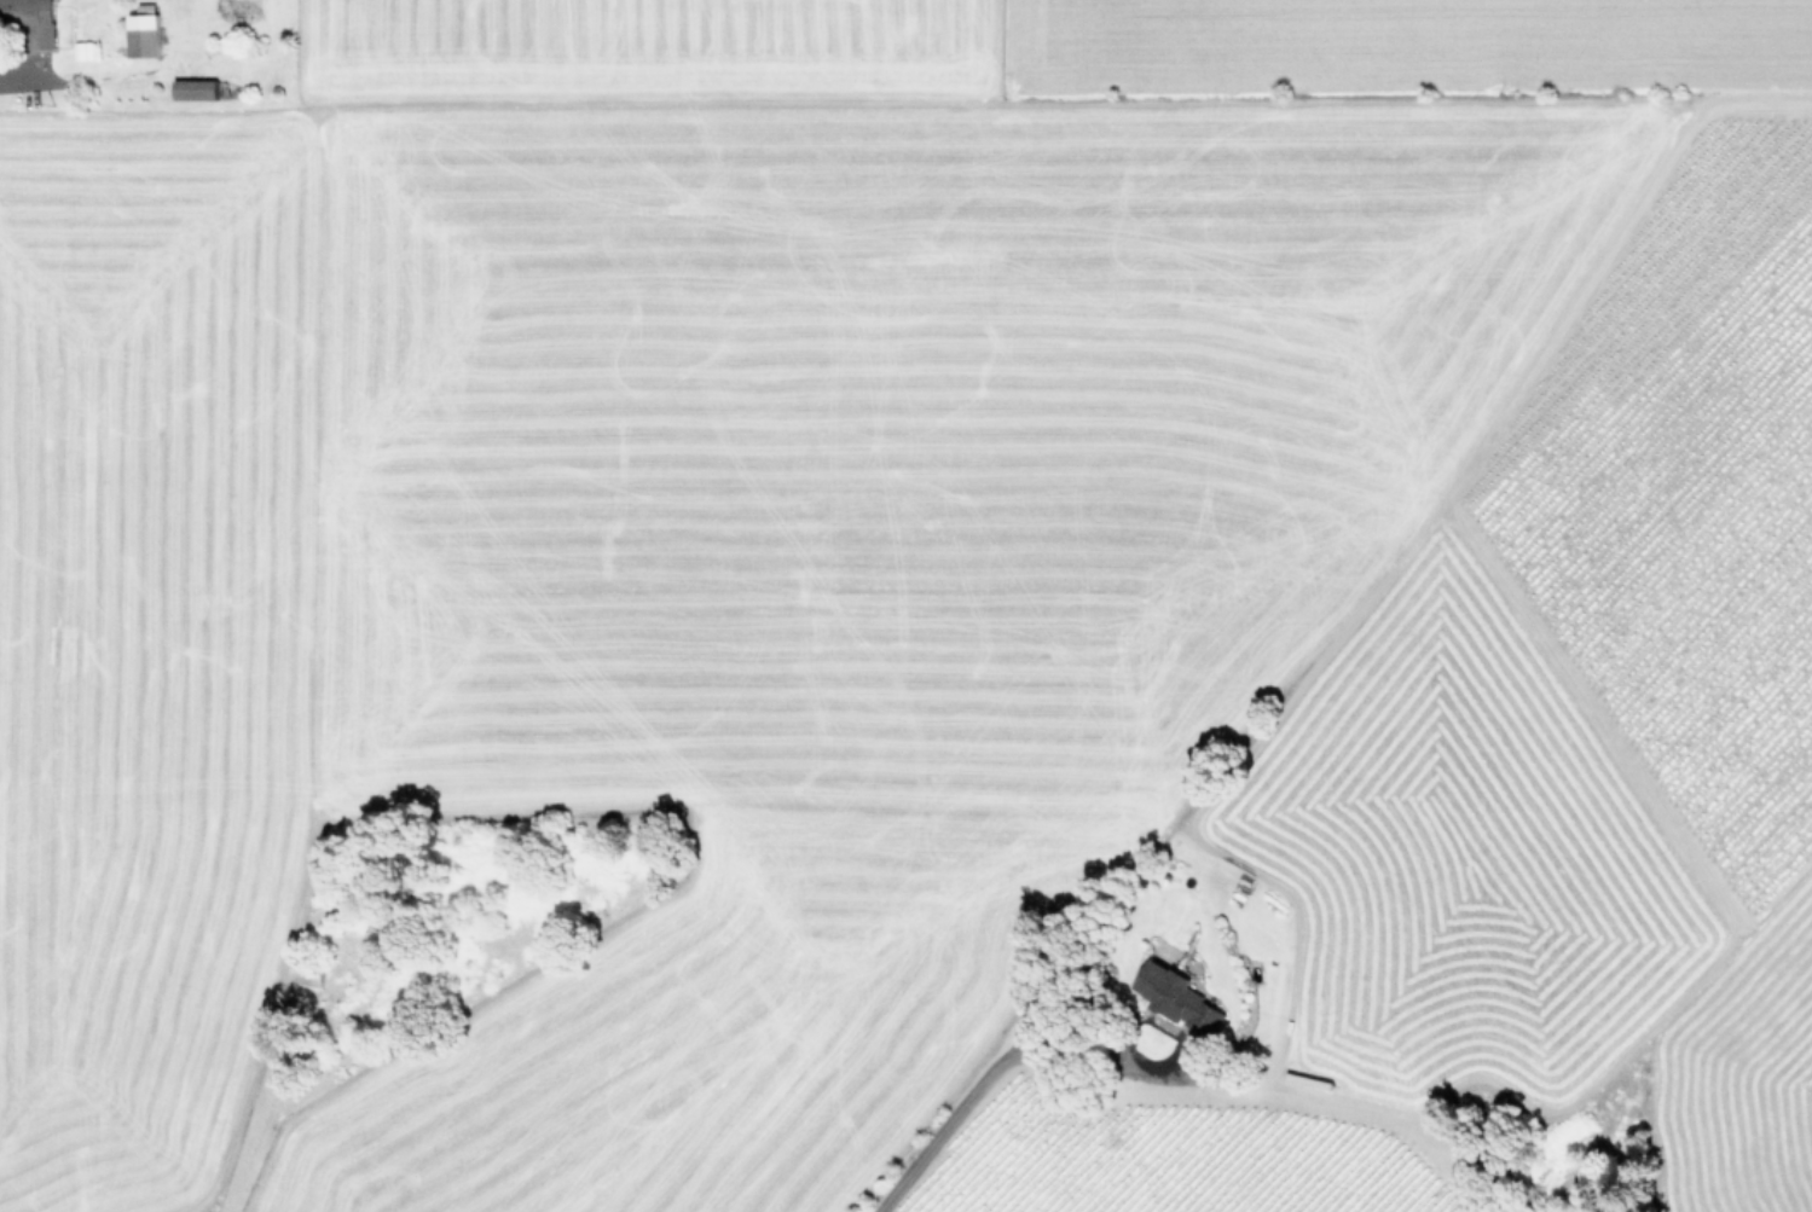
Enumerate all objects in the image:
building: (34, 18)
building: (144, 34)
road: (30, 82)
building: (197, 88)
crop: (905, 605)
building: (308, 972)
building: (1179, 996)
road: (992, 1068)
road: (238, 1119)

